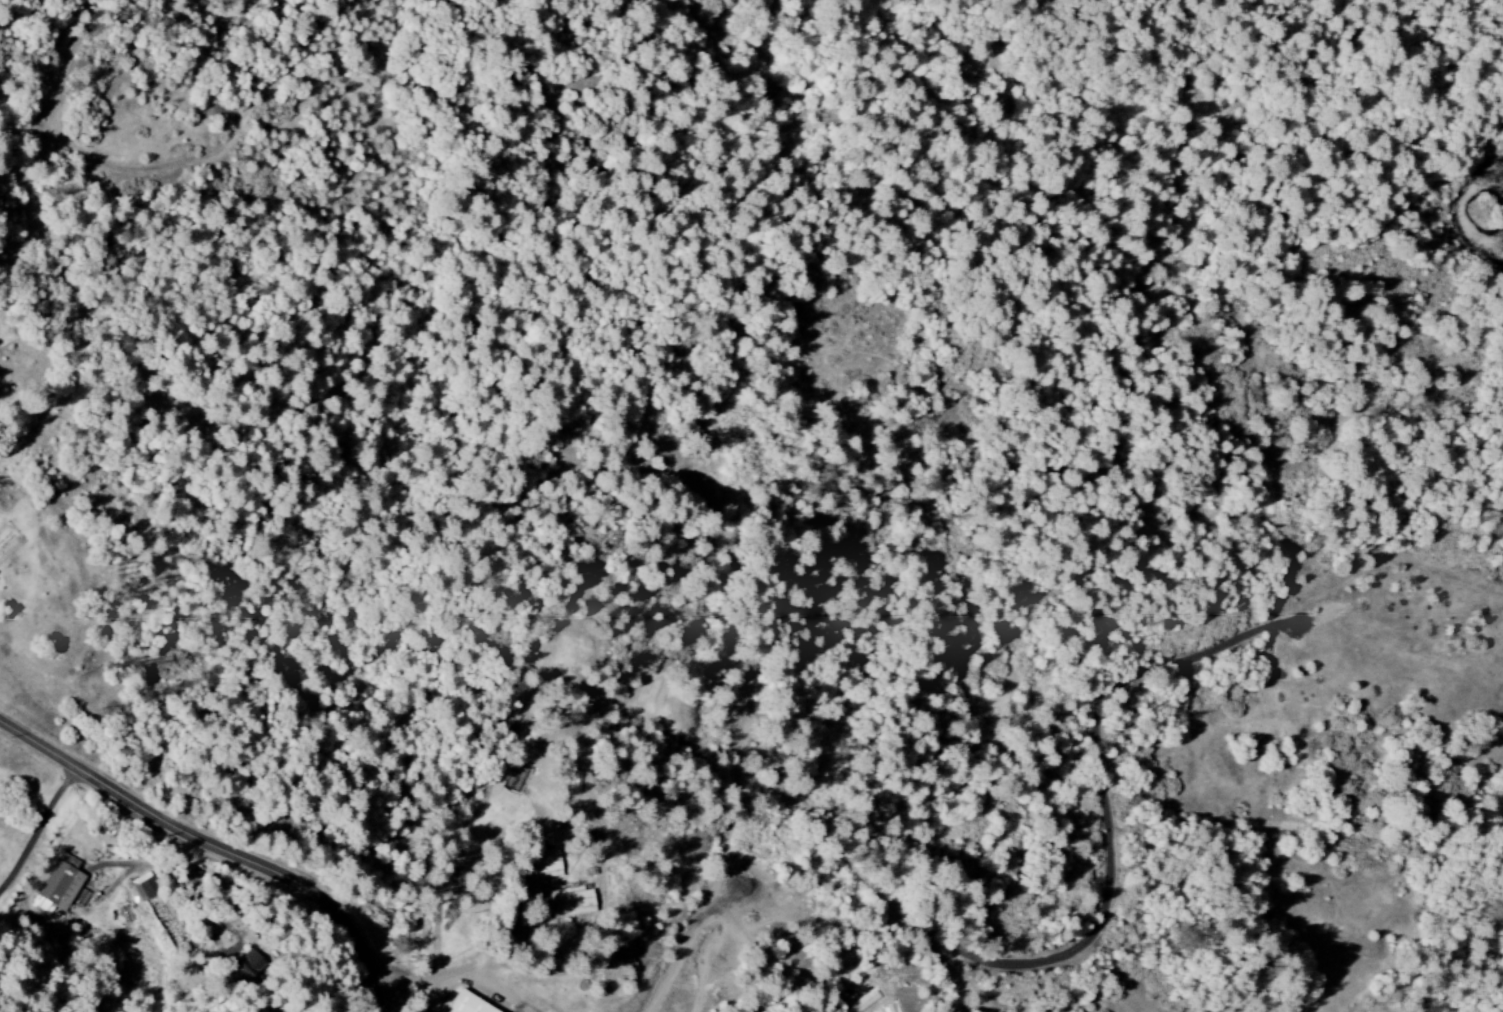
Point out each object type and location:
road: (496, 497)
road: (220, 844)
building: (545, 865)
building: (143, 887)
building: (57, 889)
building: (569, 903)
road: (482, 962)
building: (249, 965)
building: (469, 1004)

